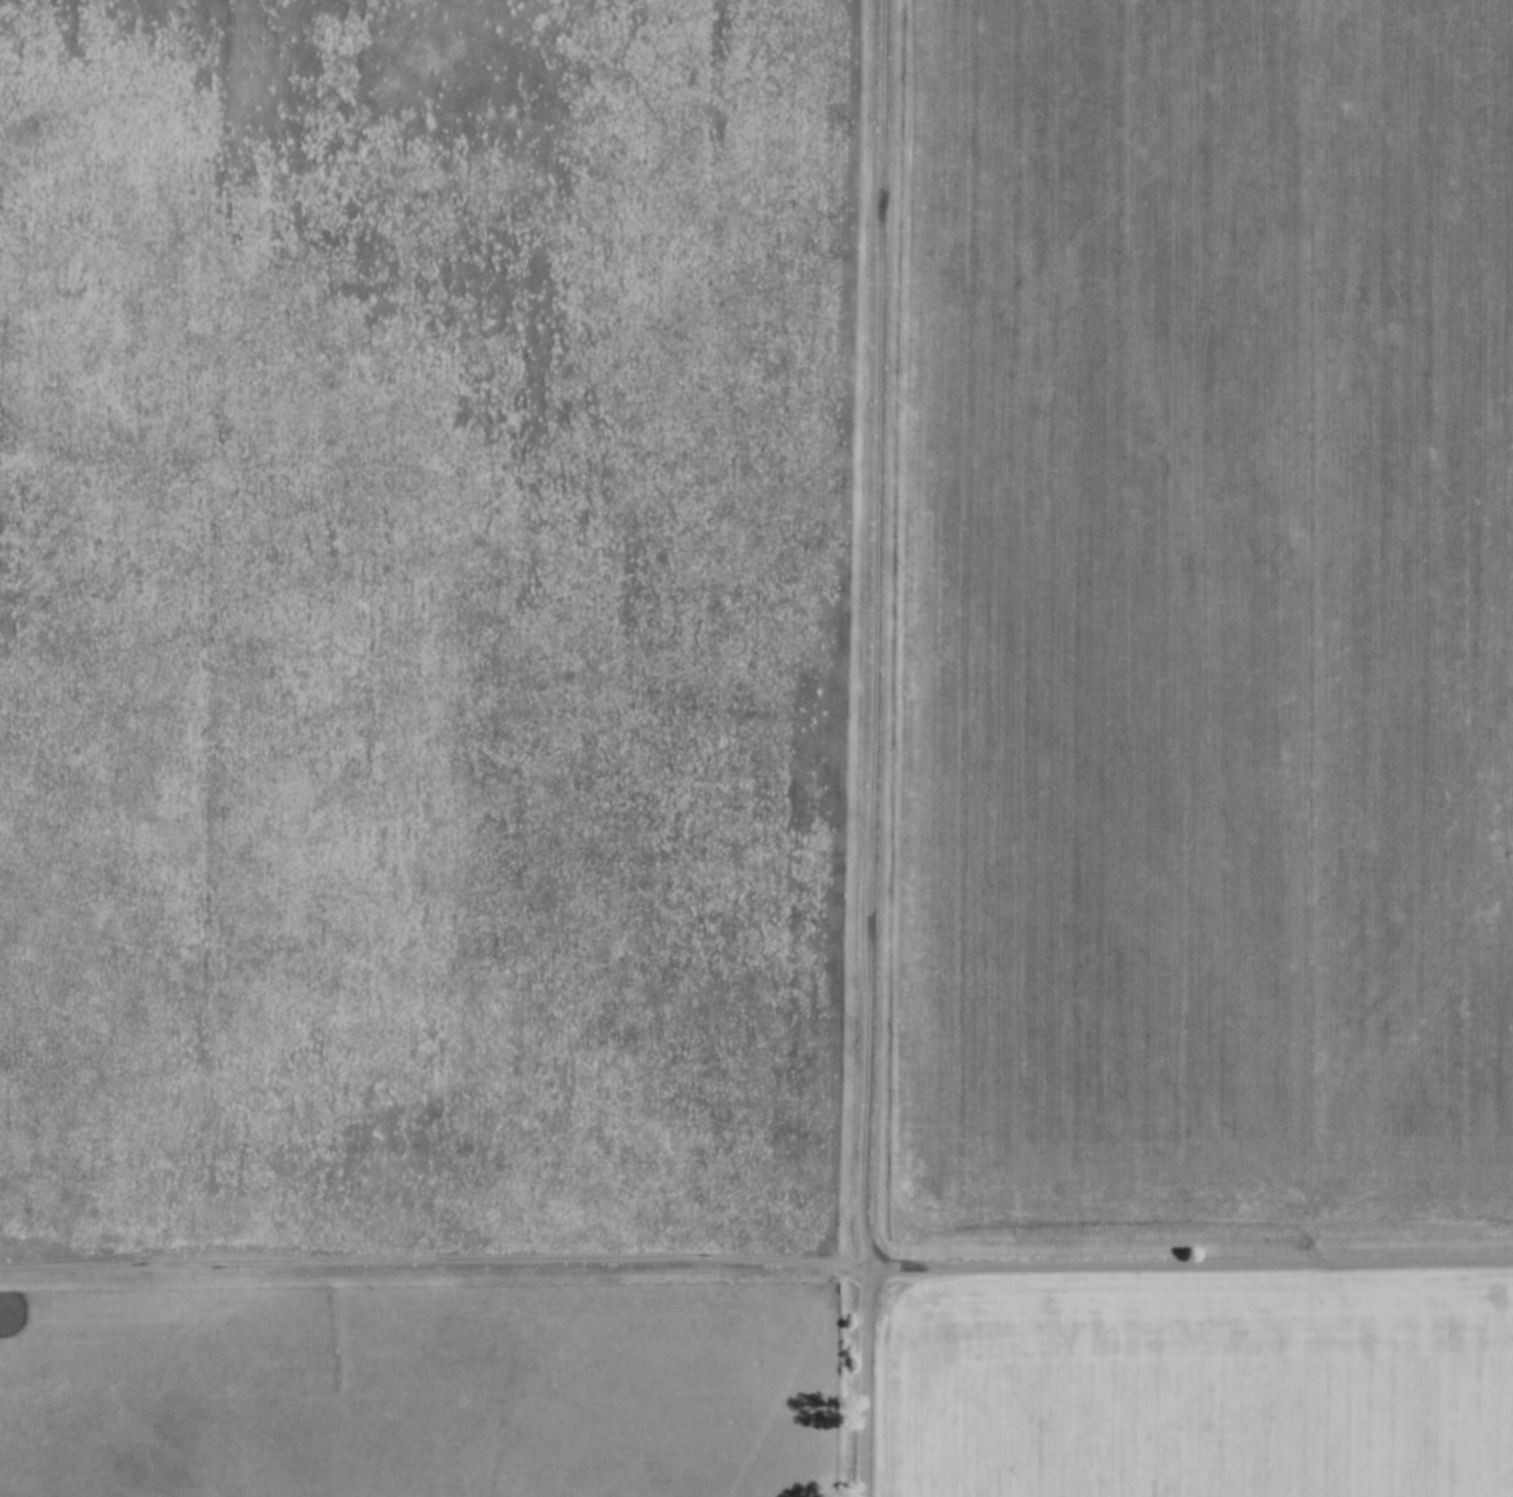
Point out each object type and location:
building: (1430, 112)
building: (1461, 577)
road: (875, 632)
road: (1190, 1261)
road: (433, 1268)
road: (867, 1381)

